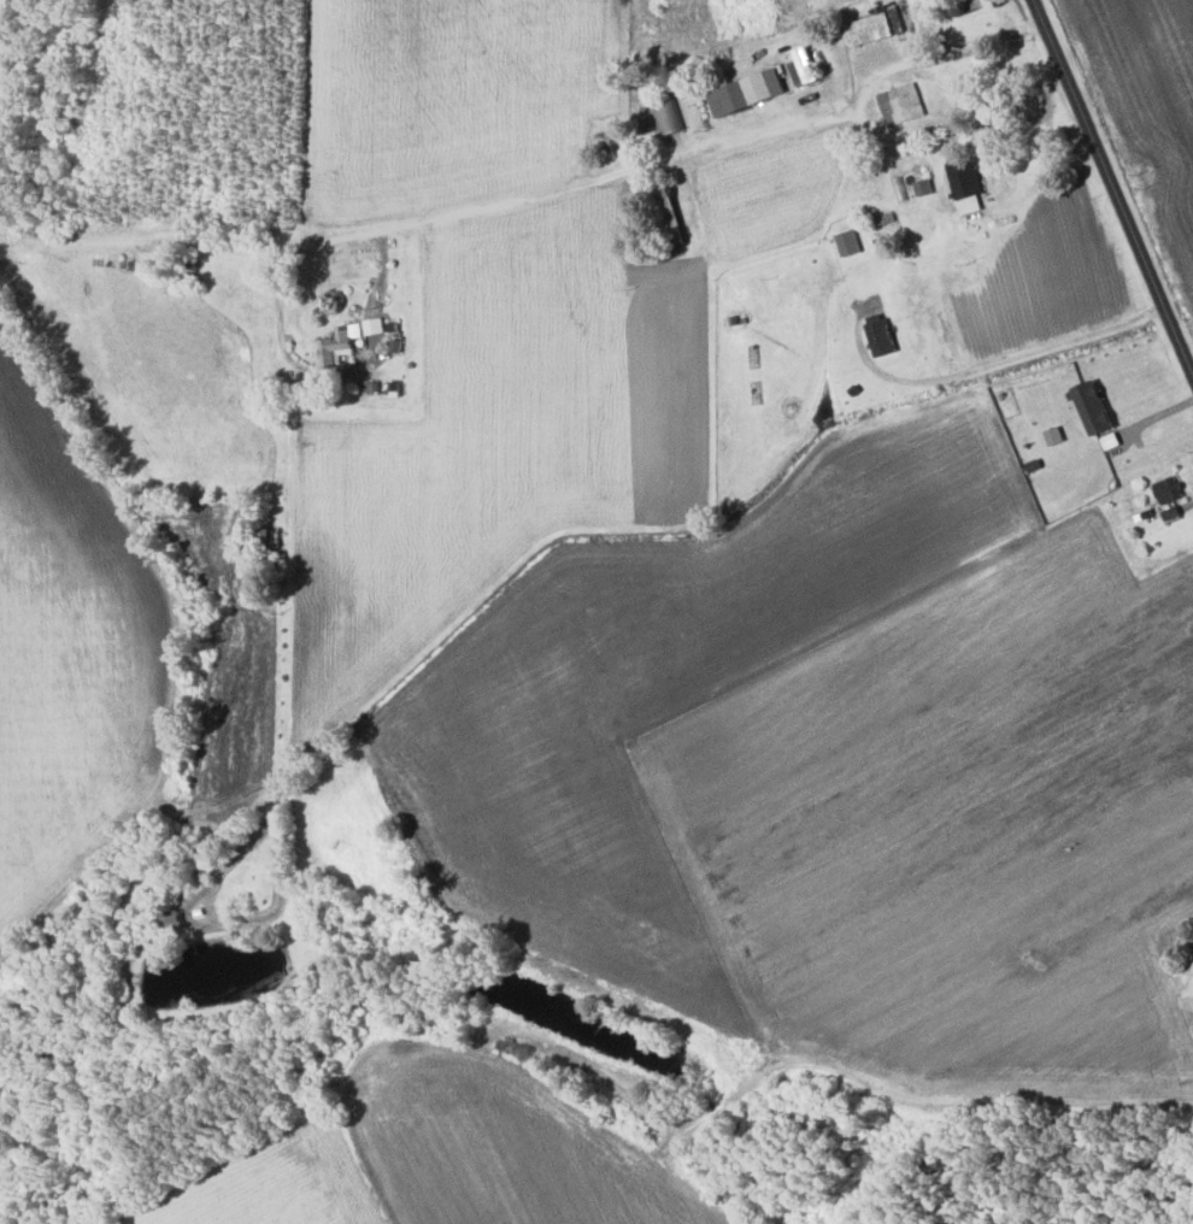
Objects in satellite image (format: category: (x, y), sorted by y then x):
building: (871, 25)
building: (745, 89)
building: (900, 102)
building: (668, 114)
road: (932, 128)
road: (958, 137)
building: (964, 183)
road: (1112, 193)
road: (534, 200)
building: (371, 324)
building: (880, 335)
building: (336, 343)
road: (286, 352)
road: (995, 360)
building: (1093, 405)
building: (1168, 488)
road: (919, 1108)

